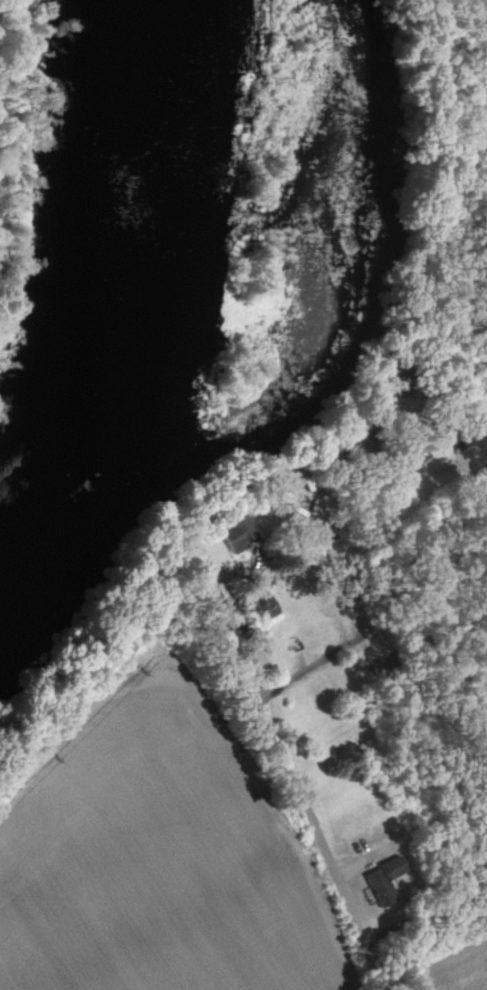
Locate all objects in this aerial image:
river: (122, 319)
road: (461, 482)
building: (239, 534)
building: (264, 609)
road: (310, 632)
road: (321, 843)
building: (384, 882)
road: (428, 913)

